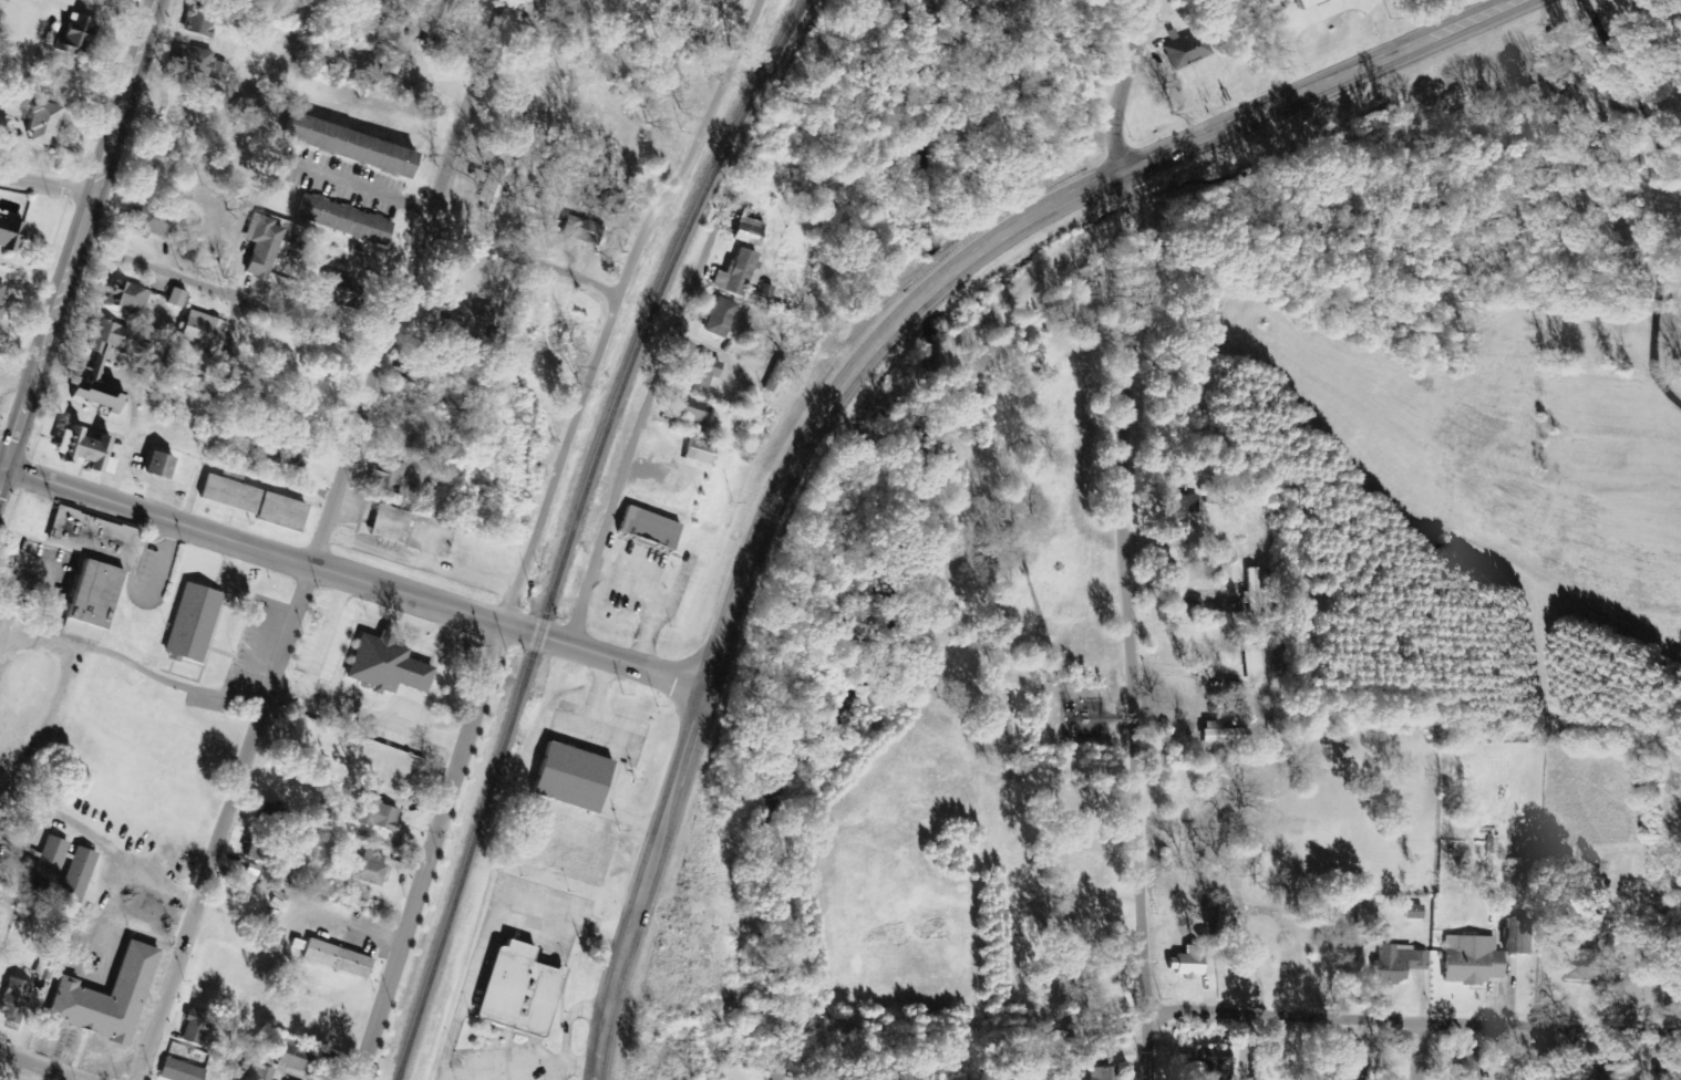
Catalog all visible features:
building: (1270, 1)
building: (1306, 3)
building: (439, 11)
building: (70, 35)
building: (1184, 51)
building: (196, 63)
building: (394, 66)
road: (1132, 81)
building: (34, 122)
building: (2, 127)
building: (343, 144)
road: (47, 176)
road: (352, 185)
building: (489, 190)
building: (144, 219)
building: (343, 219)
building: (581, 228)
building: (746, 231)
building: (8, 233)
road: (78, 233)
building: (261, 246)
road: (517, 261)
building: (734, 273)
building: (1, 289)
building: (334, 289)
road: (228, 294)
building: (761, 295)
building: (126, 297)
building: (174, 298)
building: (0, 309)
building: (718, 318)
building: (443, 326)
building: (203, 330)
building: (94, 365)
road: (847, 365)
building: (701, 374)
building: (689, 409)
building: (78, 448)
building: (697, 453)
building: (105, 465)
building: (154, 466)
building: (385, 476)
building: (251, 501)
building: (1177, 510)
building: (388, 523)
railway: (569, 527)
building: (646, 528)
road: (534, 530)
road: (317, 539)
road: (251, 544)
building: (89, 564)
building: (1252, 592)
road: (1134, 621)
building: (190, 624)
road: (605, 654)
building: (1261, 663)
building: (383, 665)
building: (1221, 735)
building: (568, 778)
building: (375, 816)
building: (1496, 848)
building: (47, 865)
building: (1, 866)
building: (368, 869)
building: (75, 877)
building: (1411, 913)
building: (1210, 927)
building: (1603, 930)
building: (1509, 936)
building: (334, 958)
building: (1469, 960)
building: (1186, 964)
building: (1395, 964)
building: (1582, 966)
building: (1208, 983)
building: (514, 991)
building: (12, 998)
building: (102, 1000)
road: (1419, 1017)
building: (194, 1026)
road: (1414, 1048)
road: (1568, 1050)
building: (290, 1062)
building: (1213, 1062)
road: (43, 1065)
building: (1466, 1065)
building: (1352, 1067)
building: (176, 1071)
building: (261, 1073)
building: (1100, 1073)

